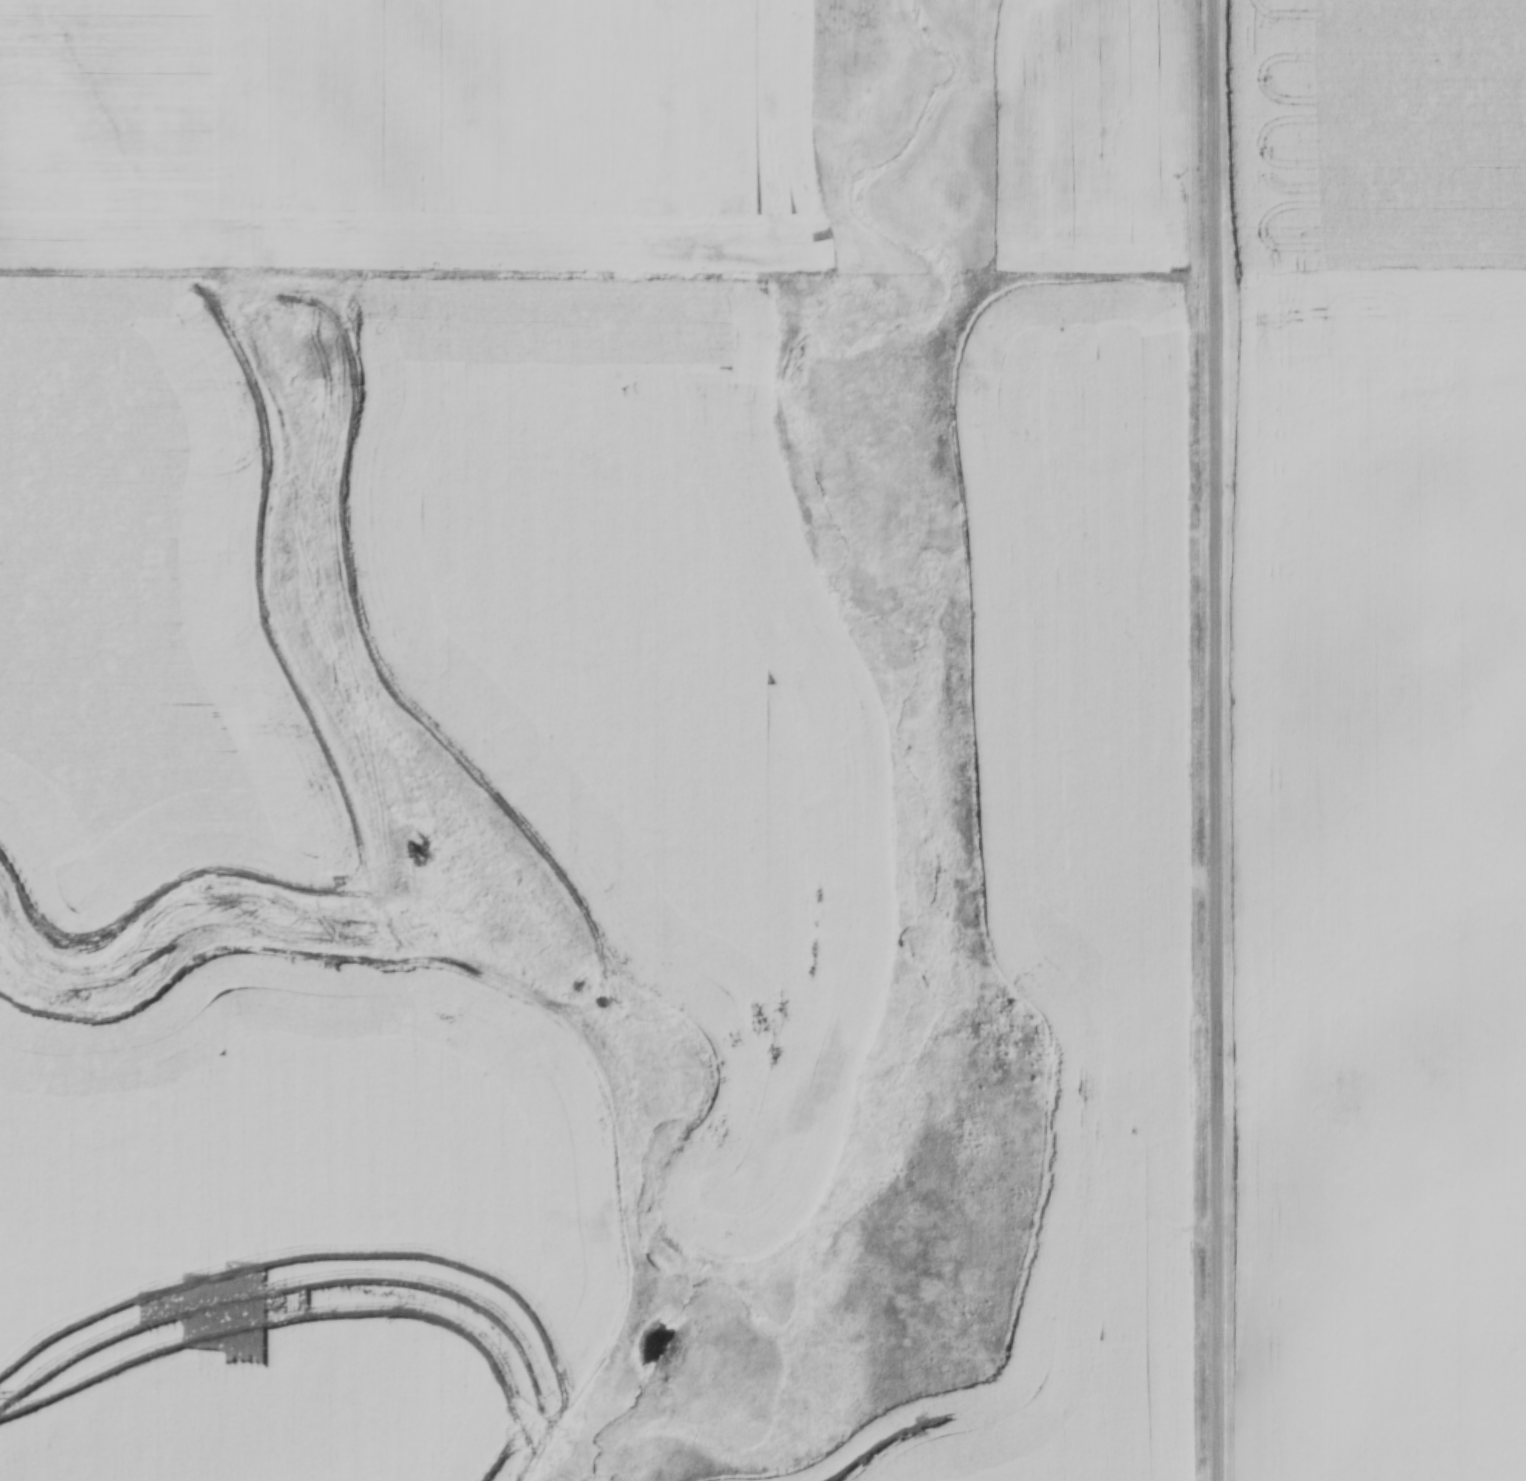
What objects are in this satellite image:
road: (1215, 740)

